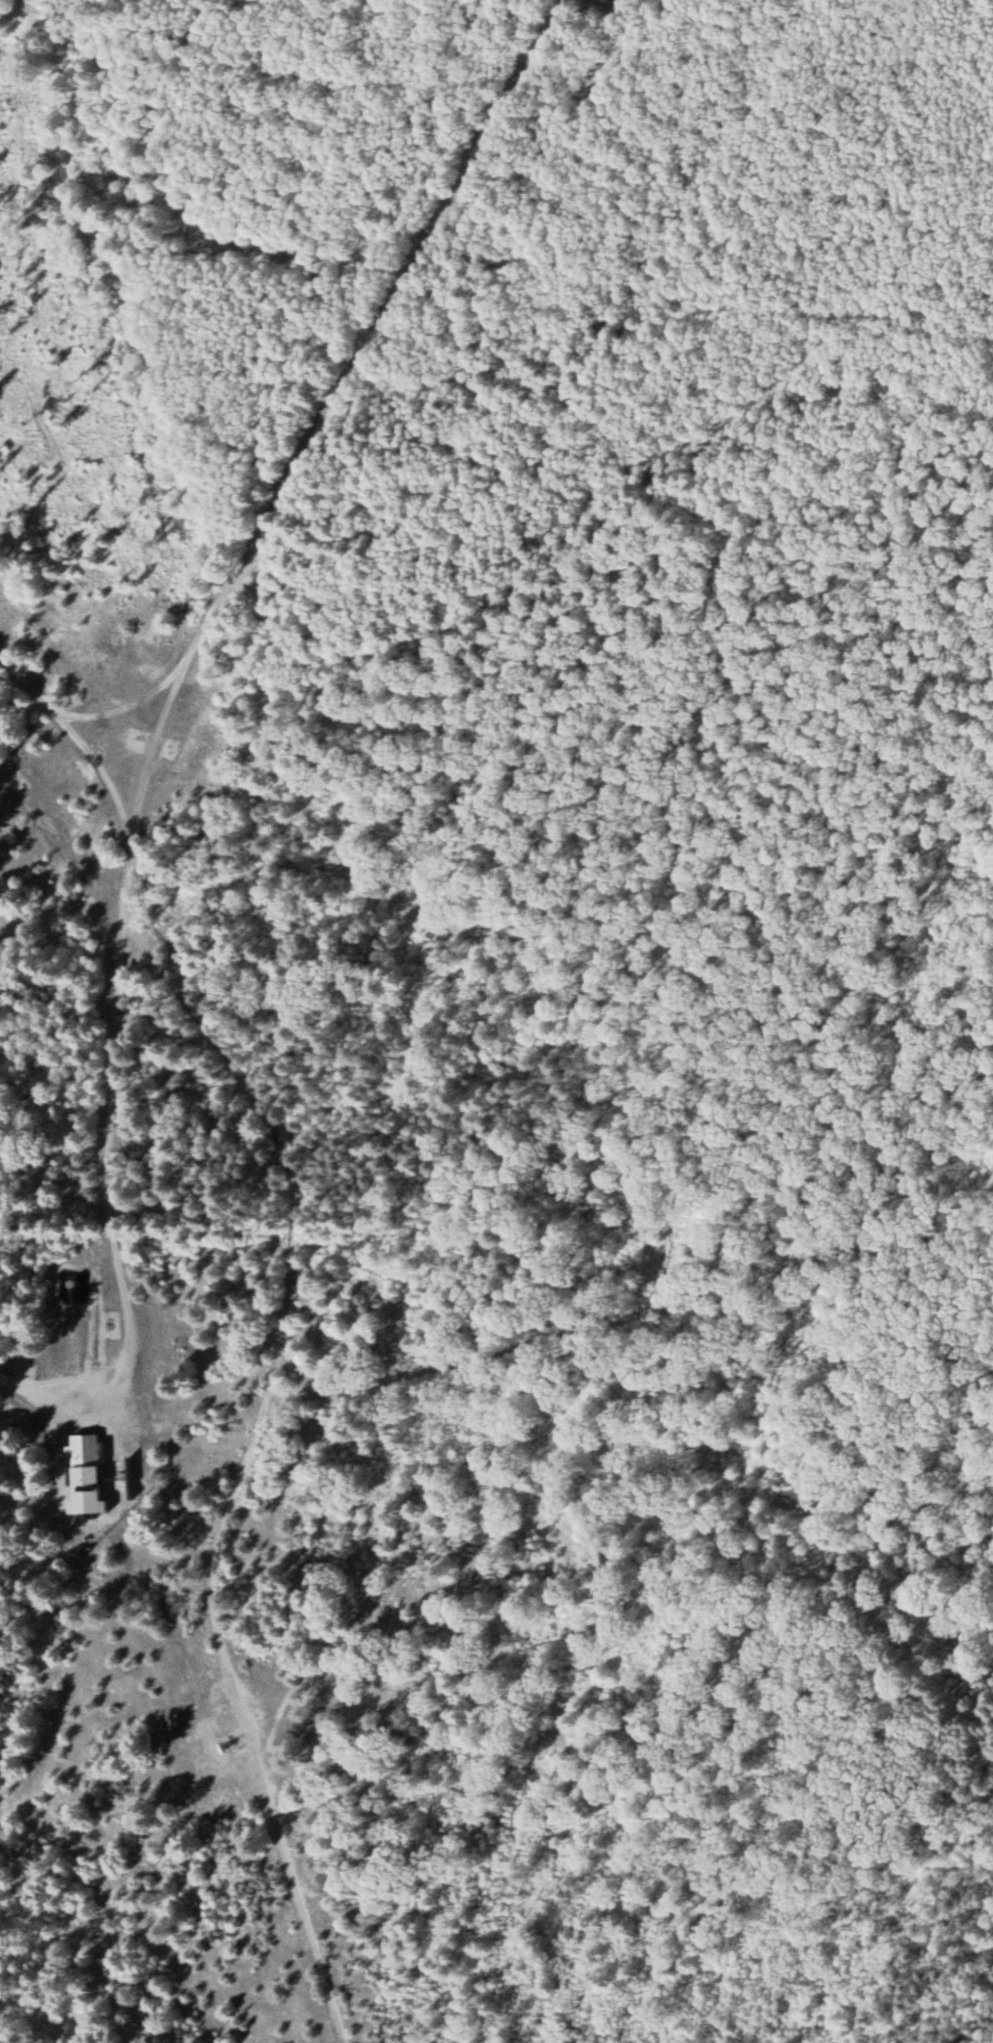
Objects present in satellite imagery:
road: (332, 389)
road: (105, 1067)
road: (626, 1316)
building: (89, 1460)
road: (245, 1463)
petroleum well: (228, 1746)

